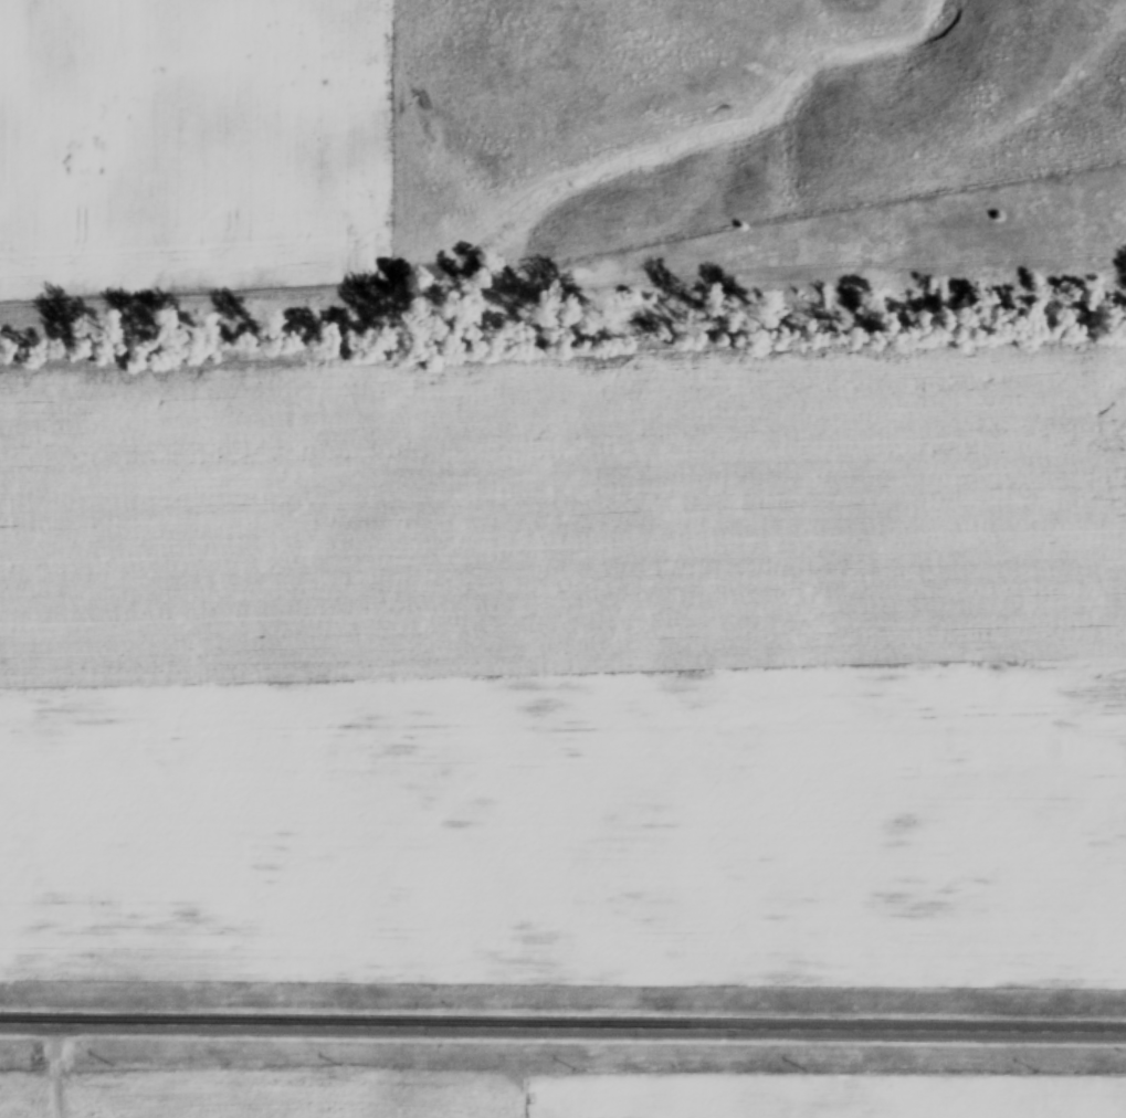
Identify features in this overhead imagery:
road: (562, 1027)

